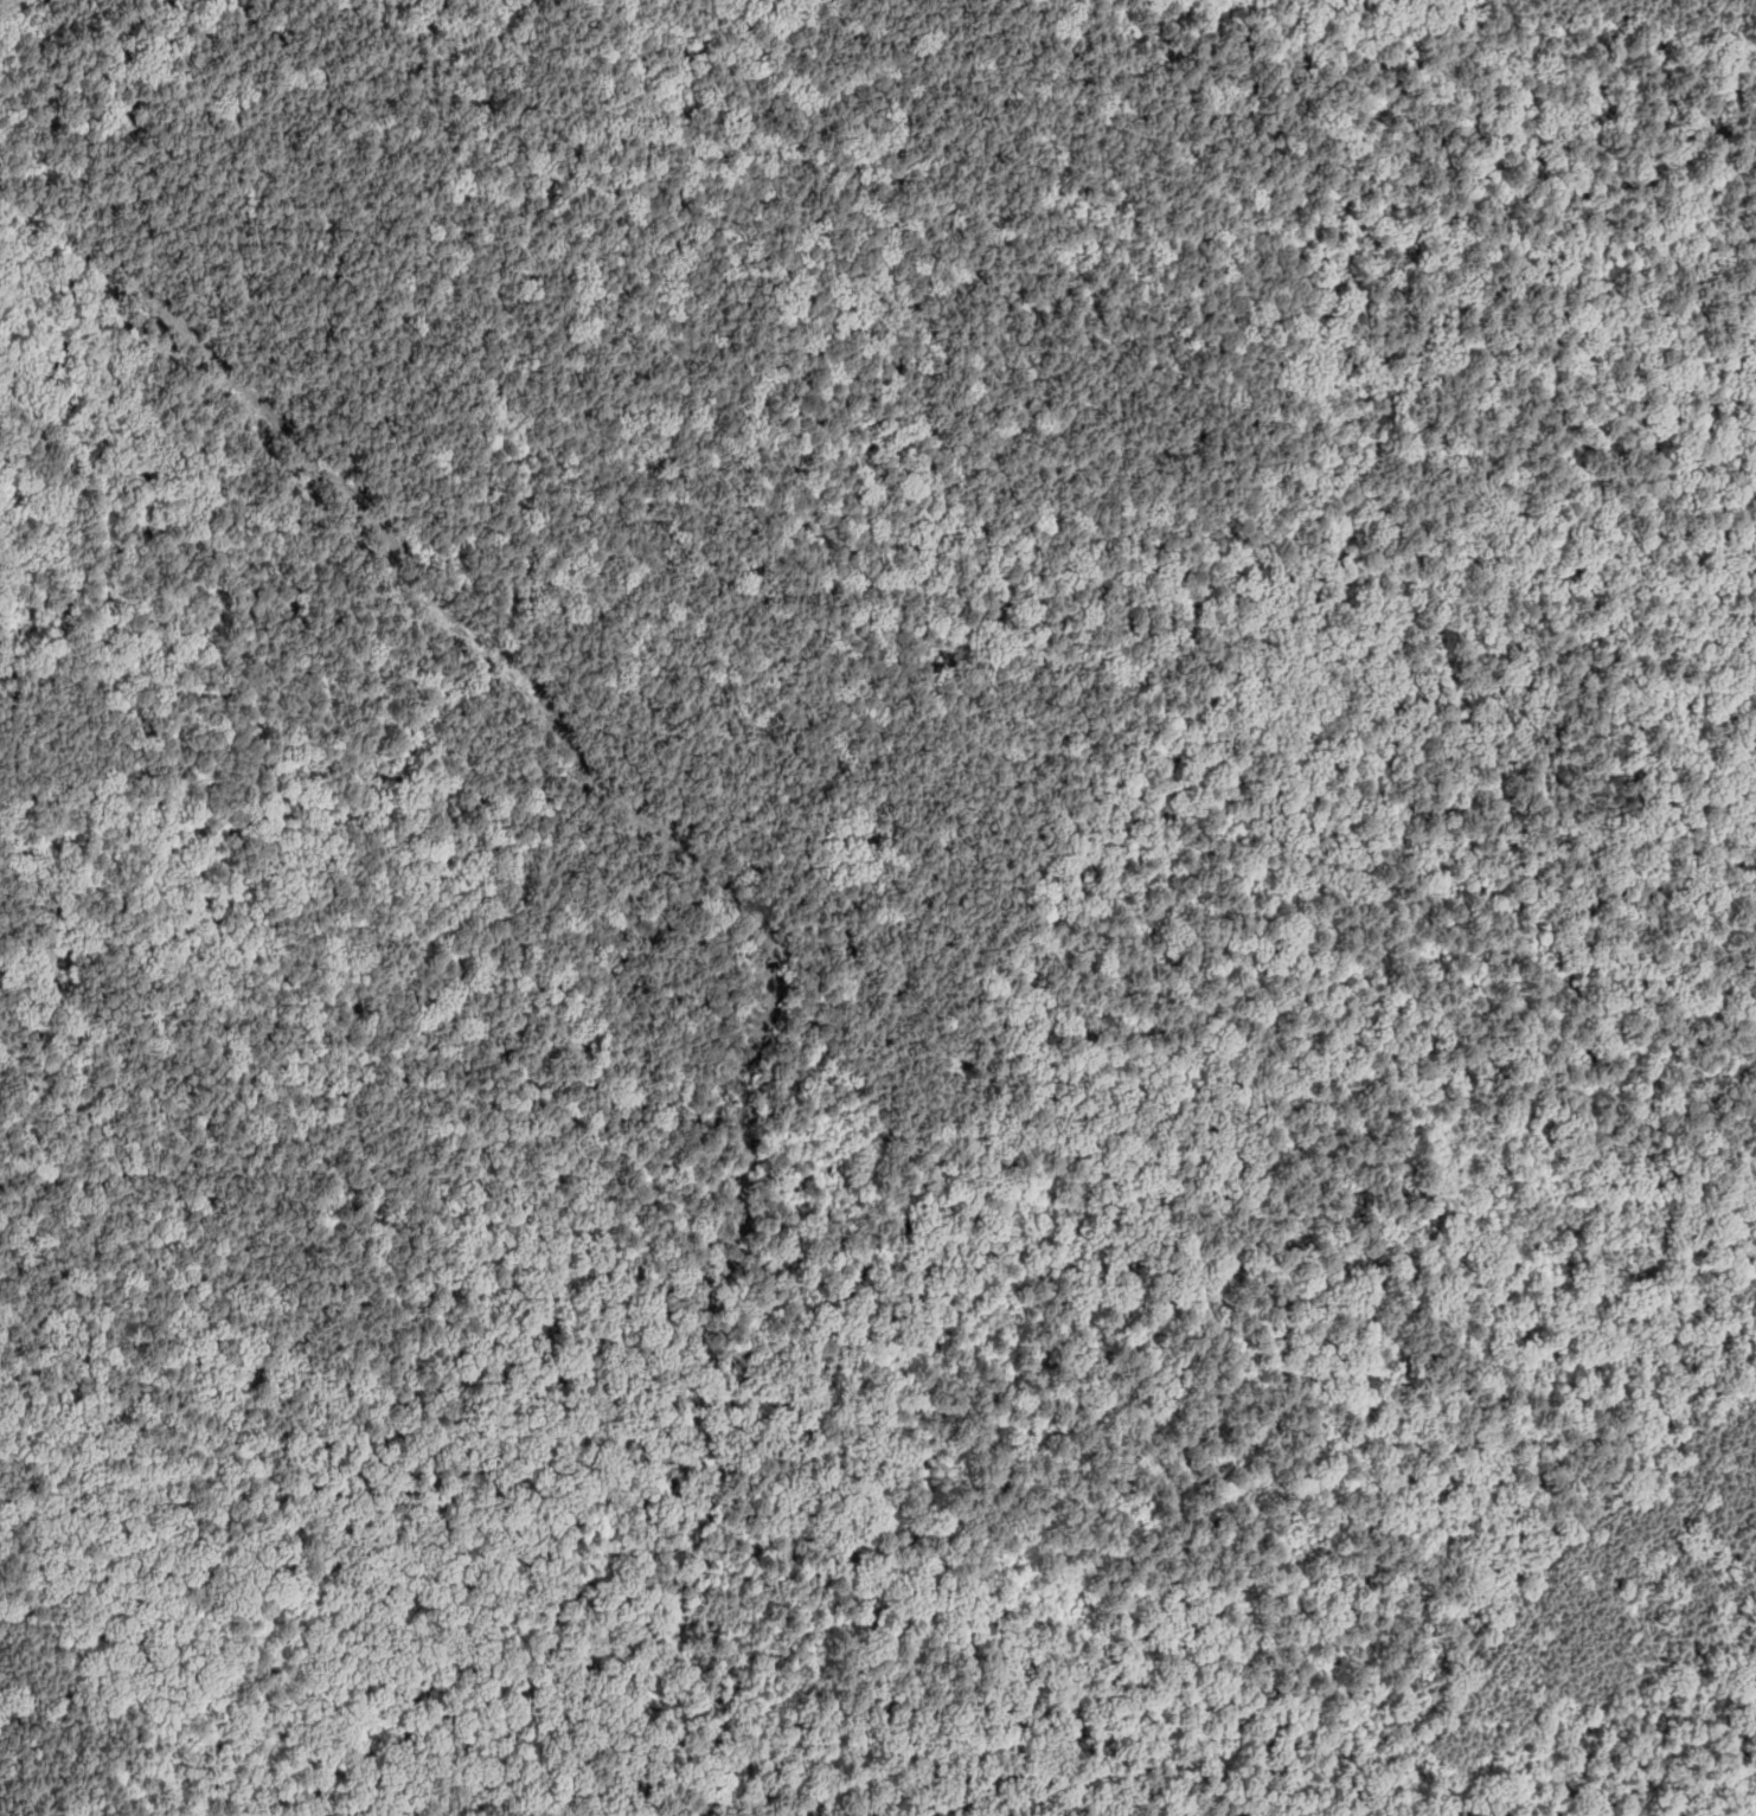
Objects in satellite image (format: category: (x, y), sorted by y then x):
road: (11, 8)

